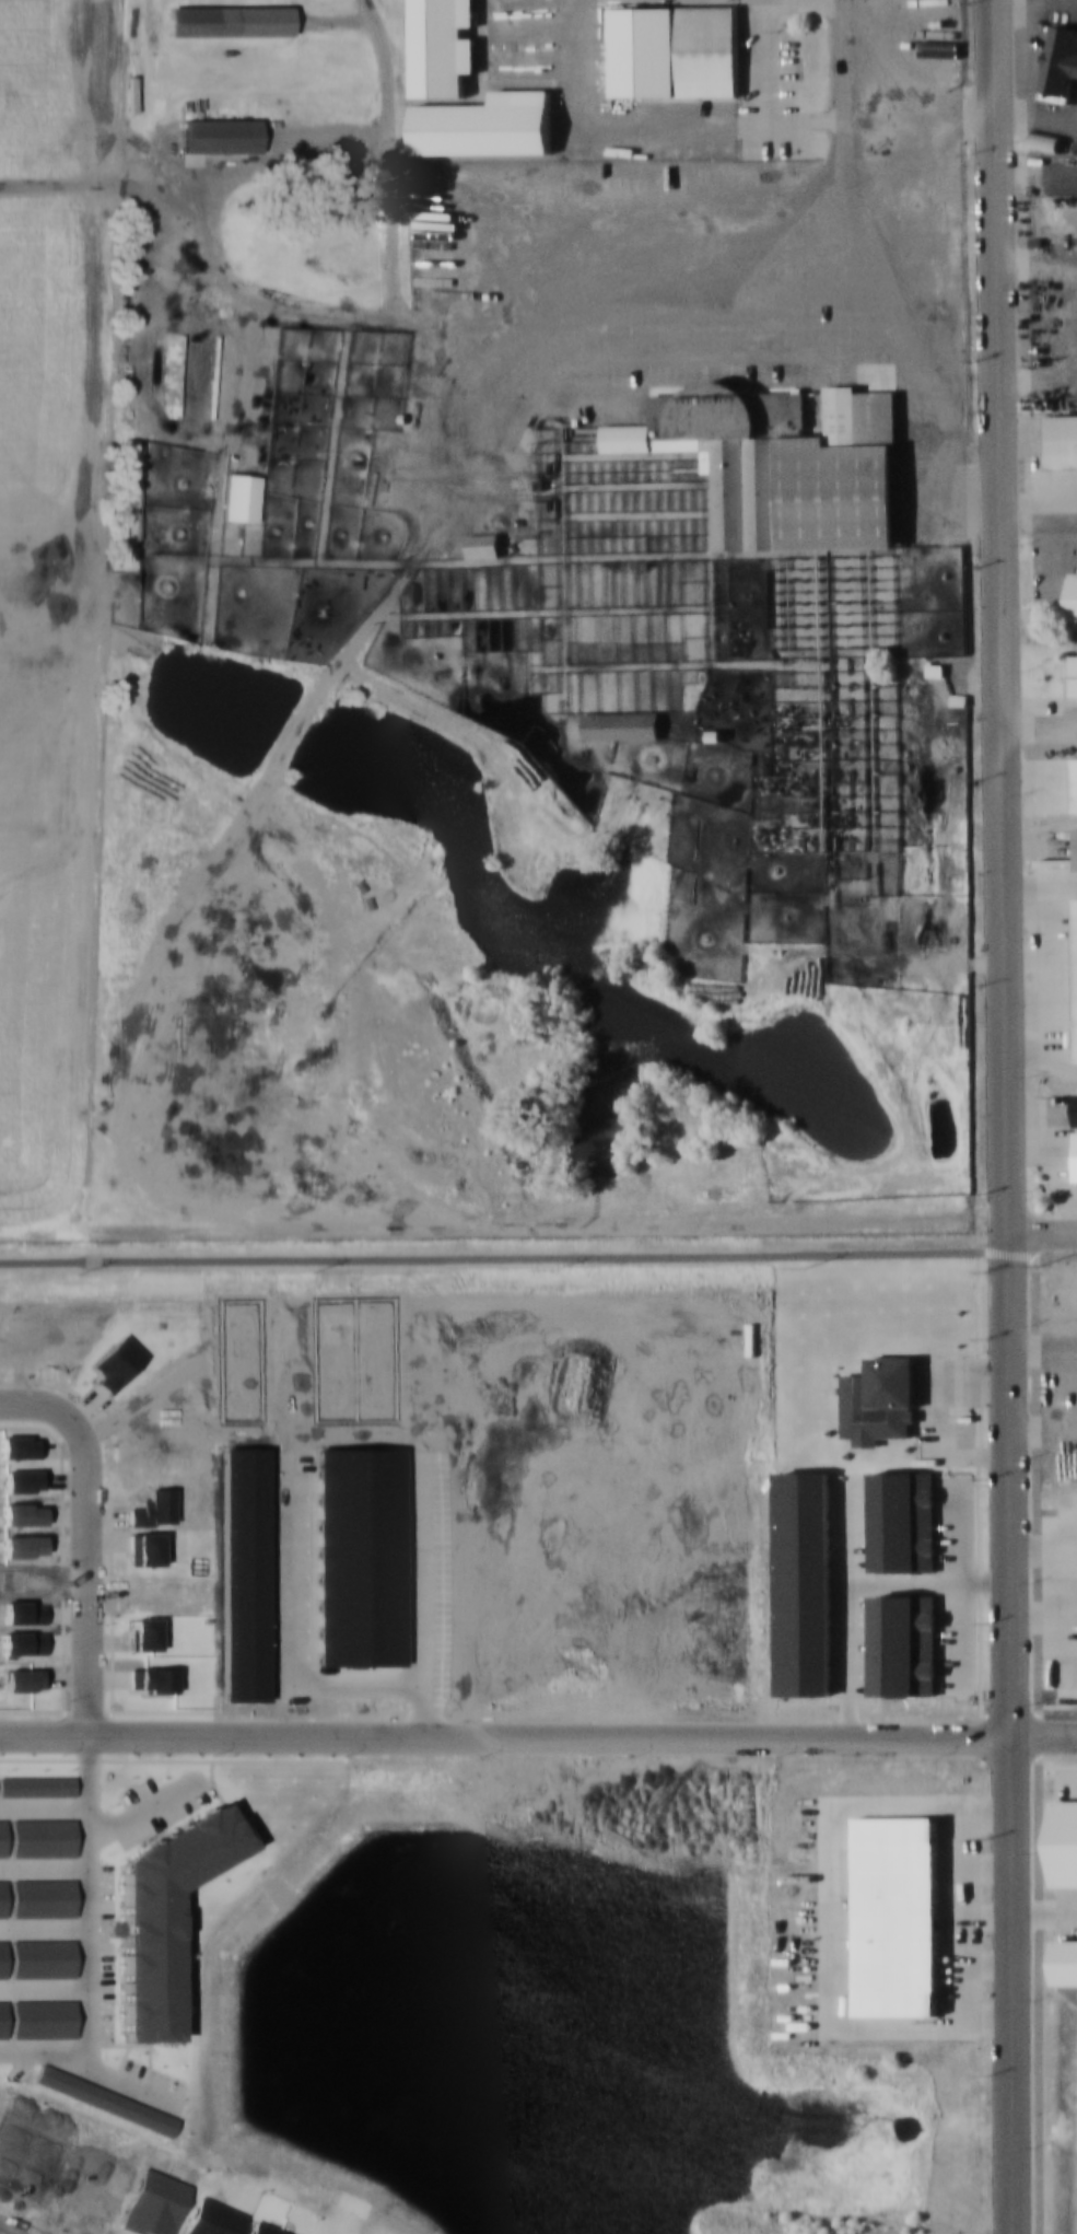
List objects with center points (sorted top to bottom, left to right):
building: (227, 20)
building: (442, 47)
building: (675, 50)
building: (1060, 62)
building: (485, 124)
building: (220, 135)
building: (1045, 138)
building: (1058, 208)
road: (865, 244)
building: (1062, 440)
building: (782, 462)
building: (387, 464)
building: (239, 496)
building: (483, 545)
building: (1073, 601)
building: (1074, 674)
building: (622, 724)
road: (1040, 733)
building: (1076, 783)
building: (1076, 848)
road: (180, 912)
building: (1076, 950)
road: (430, 998)
road: (1006, 1116)
road: (1042, 1229)
road: (538, 1257)
building: (880, 1399)
road: (85, 1537)
road: (504, 1734)
road: (1043, 1736)
building: (895, 1915)
road: (4, 2232)

